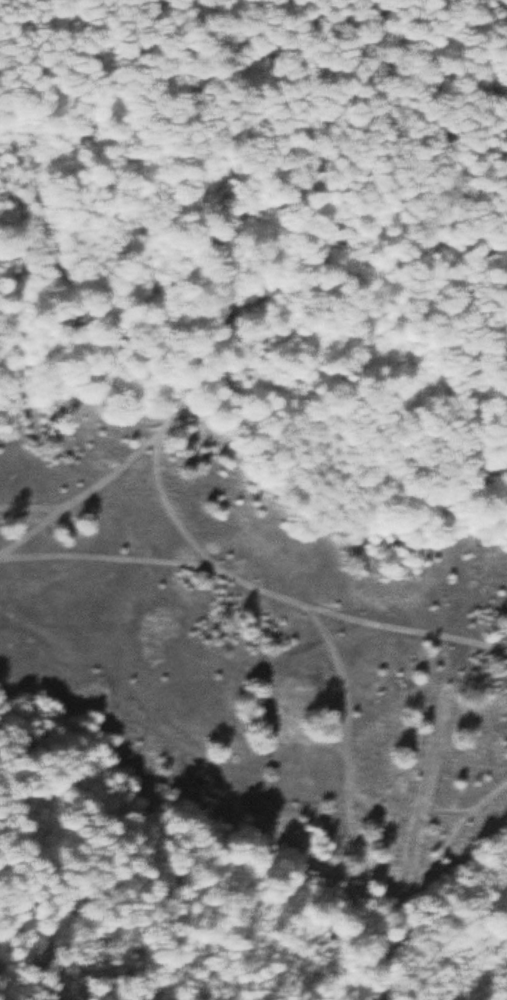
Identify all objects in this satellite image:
road: (252, 588)

